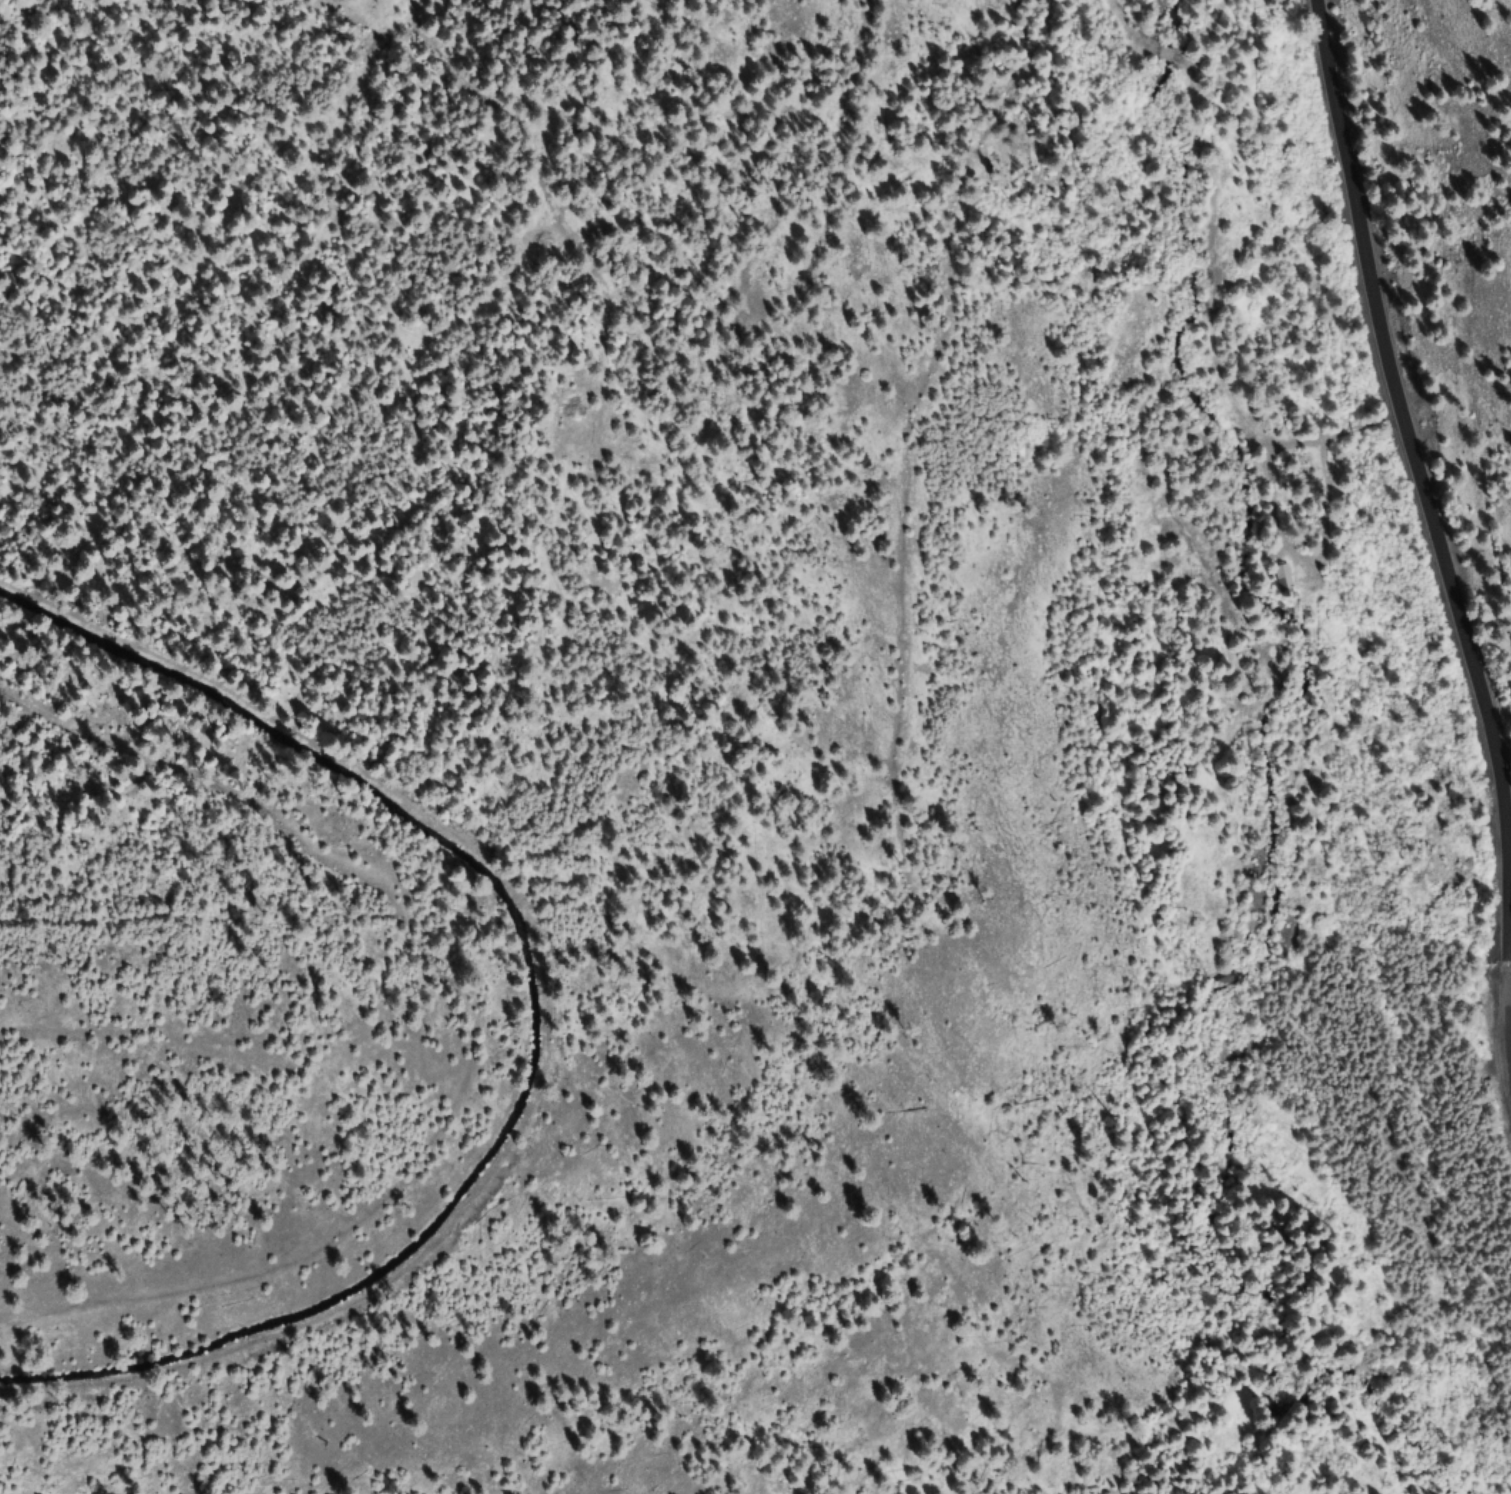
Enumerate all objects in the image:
road: (1340, 195)
building: (1284, 573)
road: (1469, 779)
road: (451, 1041)

